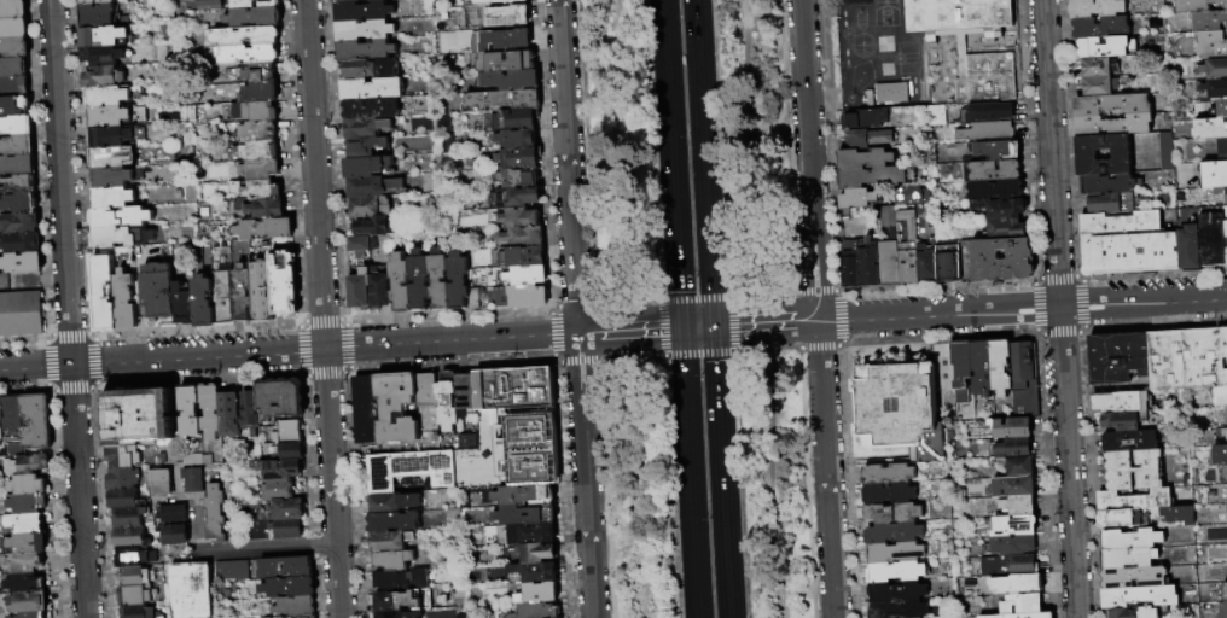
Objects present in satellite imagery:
building: (4, 0)
building: (344, 0)
building: (374, 0)
building: (94, 1)
building: (501, 1)
building: (243, 4)
building: (268, 4)
building: (210, 5)
building: (1197, 5)
building: (12, 8)
building: (1097, 8)
building: (362, 11)
building: (95, 16)
building: (506, 16)
building: (252, 18)
building: (958, 19)
building: (1208, 21)
building: (1100, 28)
building: (13, 29)
building: (365, 30)
building: (103, 36)
building: (239, 37)
building: (508, 40)
building: (1211, 45)
building: (1105, 47)
building: (13, 48)
building: (366, 49)
building: (244, 54)
building: (100, 56)
building: (506, 62)
building: (1098, 66)
building: (13, 68)
building: (371, 69)
building: (1214, 69)
building: (258, 72)
building: (103, 77)
building: (984, 78)
building: (512, 80)
building: (1099, 86)
building: (13, 87)
building: (372, 88)
building: (1215, 88)
building: (256, 93)
building: (889, 93)
building: (106, 97)
building: (501, 100)
building: (1110, 104)
building: (13, 106)
building: (371, 109)
building: (1220, 109)
building: (251, 111)
building: (988, 111)
building: (937, 116)
building: (107, 117)
building: (865, 118)
building: (514, 119)
building: (1112, 124)
building: (16, 126)
building: (365, 128)
building: (1209, 129)
building: (257, 132)
building: (988, 132)
building: (110, 138)
building: (867, 138)
building: (517, 139)
building: (17, 146)
building: (366, 146)
road: (752, 146)
building: (1222, 148)
building: (995, 150)
building: (257, 151)
building: (1165, 151)
building: (1086, 154)
building: (110, 157)
building: (519, 158)
building: (863, 158)
road: (704, 162)
road: (671, 164)
building: (17, 165)
building: (366, 167)
building: (258, 169)
building: (992, 170)
road: (314, 174)
building: (1214, 174)
building: (111, 177)
building: (518, 177)
building: (872, 177)
building: (1109, 183)
building: (17, 185)
building: (374, 187)
building: (995, 190)
building: (255, 191)
building: (1221, 192)
building: (912, 194)
building: (112, 198)
building: (513, 198)
building: (857, 198)
building: (1110, 203)
building: (18, 204)
building: (370, 206)
building: (1001, 208)
building: (262, 209)
building: (517, 217)
building: (120, 218)
building: (1121, 222)
building: (19, 223)
building: (374, 227)
building: (1006, 228)
building: (264, 229)
building: (121, 237)
building: (523, 237)
building: (1211, 238)
building: (1225, 239)
building: (905, 241)
building: (22, 243)
building: (357, 245)
building: (1190, 249)
building: (1129, 252)
building: (525, 256)
building: (996, 260)
building: (926, 262)
building: (949, 262)
building: (21, 263)
building: (889, 263)
building: (850, 266)
building: (870, 266)
building: (524, 275)
building: (418, 280)
building: (438, 280)
building: (457, 281)
building: (400, 282)
building: (283, 284)
building: (359, 290)
building: (379, 290)
building: (158, 291)
road: (814, 291)
building: (261, 292)
building: (242, 293)
road: (761, 293)
building: (104, 295)
building: (519, 297)
building: (473, 298)
road: (693, 298)
building: (222, 299)
building: (124, 301)
building: (203, 302)
road: (627, 302)
building: (182, 305)
road: (576, 305)
road: (68, 308)
road: (549, 308)
park: (696, 308)
road: (816, 308)
road: (576, 309)
road: (1059, 309)
road: (970, 311)
building: (21, 315)
road: (841, 317)
road: (728, 325)
traffic signals: (714, 326)
road: (698, 327)
road: (659, 328)
traffic signals: (682, 328)
road: (629, 331)
road: (549, 334)
road: (558, 334)
road: (432, 343)
building: (1225, 343)
road: (816, 346)
road: (752, 351)
road: (697, 354)
road: (628, 356)
road: (162, 357)
building: (1118, 358)
building: (1023, 360)
building: (1186, 360)
road: (553, 361)
road: (577, 361)
building: (1000, 366)
building: (981, 368)
building: (963, 371)
building: (1226, 377)
building: (466, 395)
building: (1219, 396)
building: (281, 398)
building: (1025, 398)
building: (447, 401)
building: (1122, 402)
building: (397, 408)
building: (366, 409)
building: (428, 409)
building: (191, 410)
building: (211, 410)
building: (251, 412)
building: (900, 412)
building: (13, 414)
building: (231, 414)
building: (138, 415)
building: (1226, 415)
building: (1, 421)
building: (1124, 421)
building: (37, 422)
building: (1010, 427)
building: (511, 431)
building: (289, 432)
building: (1225, 432)
building: (467, 442)
building: (1130, 442)
building: (1018, 448)
building: (16, 450)
building: (289, 453)
building: (120, 455)
building: (1220, 455)
building: (163, 459)
building: (180, 460)
building: (198, 460)
building: (29, 463)
building: (1018, 466)
building: (411, 468)
building: (283, 470)
road: (804, 470)
building: (1134, 471)
road: (721, 472)
road: (690, 473)
building: (888, 474)
building: (1225, 476)
building: (122, 479)
building: (194, 480)
building: (162, 483)
road: (332, 483)
road: (780, 484)
building: (29, 485)
building: (296, 486)
building: (1014, 486)
building: (280, 491)
building: (889, 494)
building: (524, 495)
building: (126, 501)
building: (1133, 501)
building: (391, 502)
building: (27, 505)
building: (1019, 506)
building: (283, 511)
building: (1226, 511)
building: (894, 513)
building: (174, 514)
building: (216, 514)
building: (527, 515)
building: (1177, 515)
building: (128, 518)
building: (1123, 519)
building: (394, 521)
building: (25, 524)
building: (1016, 526)
building: (275, 530)
building: (525, 534)
building: (894, 534)
building: (175, 535)
building: (130, 538)
building: (1130, 540)
building: (389, 542)
building: (25, 544)
building: (1013, 546)
road: (252, 549)
building: (895, 552)
building: (536, 553)
building: (134, 558)
building: (1128, 558)
building: (394, 560)
building: (25, 564)
building: (1011, 566)
building: (286, 569)
building: (896, 571)
building: (233, 572)
building: (535, 572)
building: (134, 577)
building: (1133, 577)
building: (400, 581)
building: (25, 584)
building: (1018, 584)
building: (290, 588)
building: (193, 590)
building: (897, 591)
building: (1225, 591)
building: (136, 596)
building: (540, 596)
building: (1139, 596)
building: (402, 600)
building: (28, 602)
building: (1023, 604)
building: (296, 607)
building: (899, 610)
building: (1223, 610)
building: (535, 612)
building: (1138, 612)
building: (141, 613)
building: (34, 614)
building: (390, 614)
building: (499, 614)
building: (1023, 616)
building: (12, 617)
building: (307, 617)
building: (316, 617)

